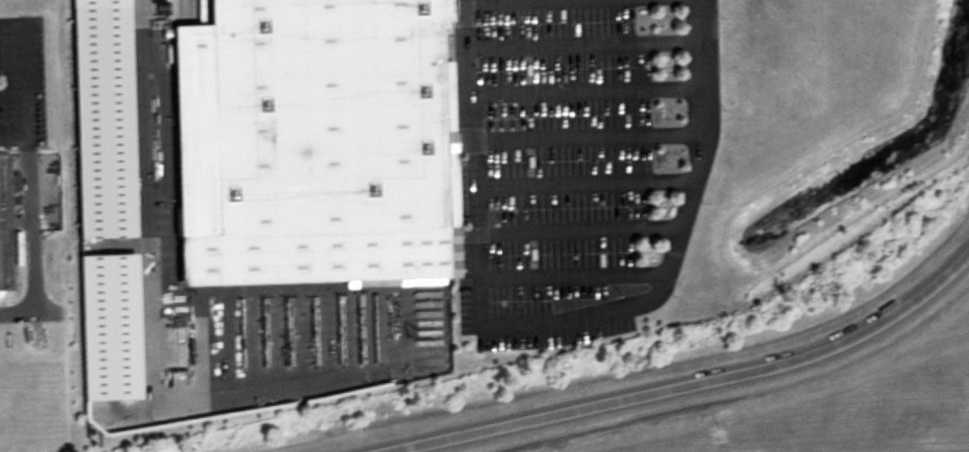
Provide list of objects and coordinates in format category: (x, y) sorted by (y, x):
building: (100, 124)
road: (12, 136)
building: (312, 141)
road: (25, 173)
building: (3, 229)
road: (554, 318)
road: (679, 383)

